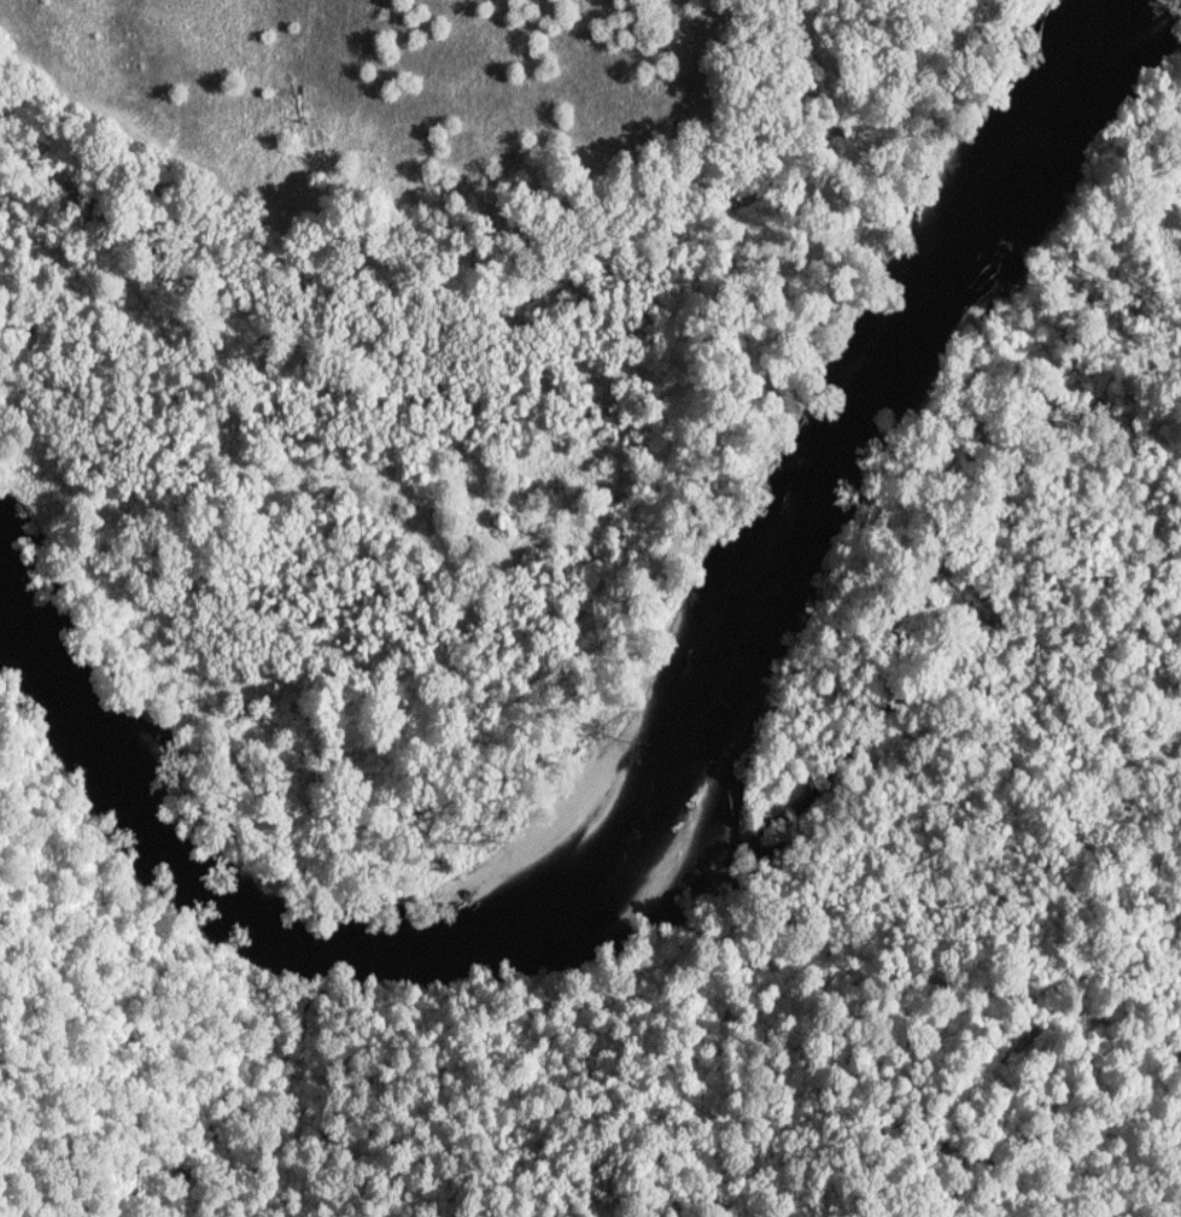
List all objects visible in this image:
river: (653, 780)

